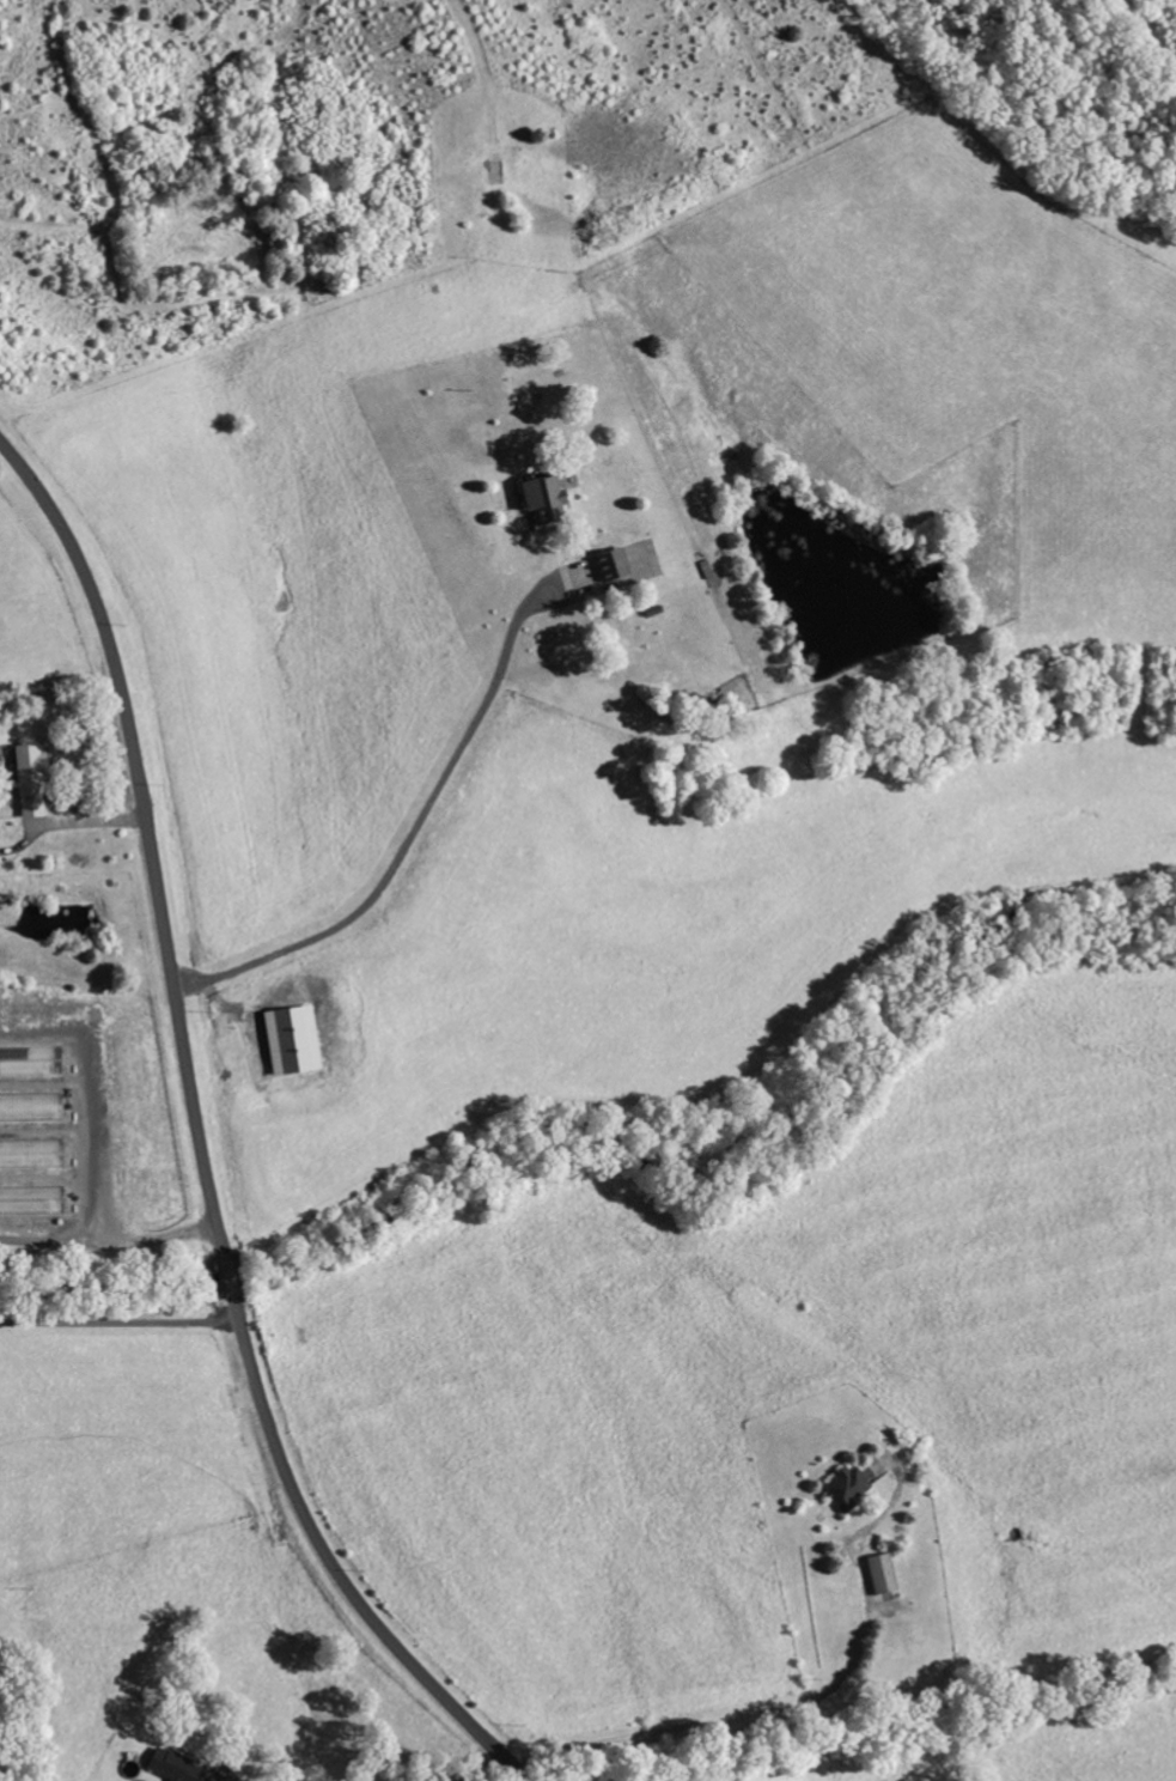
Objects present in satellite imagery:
building: (548, 498)
building: (613, 565)
building: (33, 779)
road: (420, 820)
building: (0, 859)
building: (295, 1040)
building: (32, 1107)
road: (200, 1141)
building: (32, 1154)
building: (33, 1200)
building: (849, 1489)
building: (884, 1574)
building: (176, 1767)

